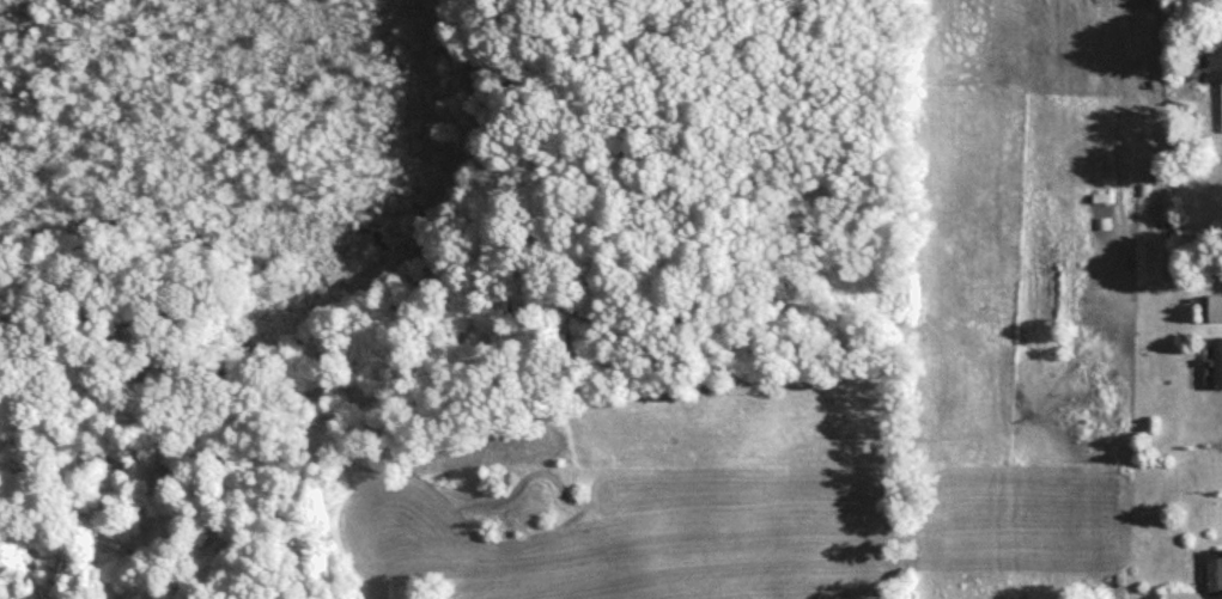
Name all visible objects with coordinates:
building: (1221, 112)
building: (1214, 316)
building: (1216, 369)
building: (1212, 577)

